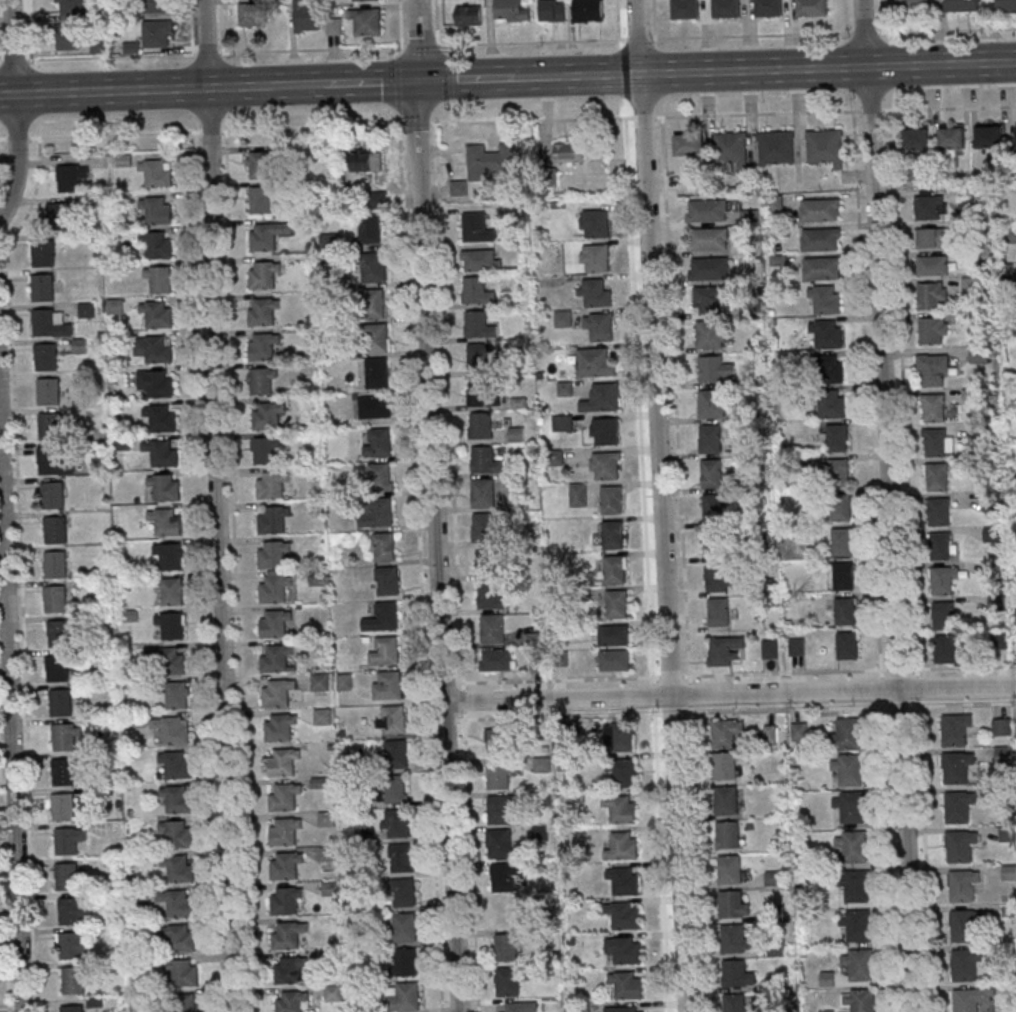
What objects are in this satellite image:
building: (366, 0)
building: (914, 5)
building: (963, 6)
building: (1006, 6)
building: (72, 7)
building: (156, 7)
building: (812, 8)
building: (726, 9)
building: (769, 9)
building: (552, 10)
building: (589, 10)
building: (686, 10)
building: (511, 11)
building: (251, 13)
building: (469, 15)
road: (881, 16)
building: (307, 17)
road: (844, 17)
road: (654, 19)
road: (618, 20)
road: (436, 22)
road: (400, 23)
road: (415, 23)
building: (368, 24)
road: (33, 30)
road: (947, 30)
road: (864, 33)
building: (156, 34)
building: (68, 36)
road: (749, 36)
road: (637, 38)
road: (533, 42)
road: (422, 45)
road: (450, 49)
road: (396, 51)
road: (202, 54)
road: (416, 63)
road: (940, 64)
road: (754, 70)
road: (603, 74)
road: (450, 76)
road: (540, 76)
road: (466, 77)
traffic signals: (417, 80)
road: (370, 82)
road: (298, 84)
road: (398, 84)
road: (240, 86)
road: (111, 90)
road: (7, 94)
road: (418, 101)
road: (15, 109)
road: (452, 111)
road: (723, 115)
road: (417, 123)
road: (311, 127)
road: (209, 132)
road: (112, 134)
building: (989, 136)
building: (952, 138)
road: (3, 139)
road: (16, 139)
building: (917, 139)
building: (690, 144)
building: (826, 146)
building: (776, 148)
building: (731, 150)
building: (569, 152)
building: (366, 161)
building: (489, 161)
building: (259, 164)
building: (157, 172)
building: (70, 178)
building: (966, 197)
building: (264, 199)
building: (774, 205)
building: (929, 209)
building: (157, 210)
building: (706, 211)
building: (818, 211)
building: (61, 214)
building: (595, 223)
building: (477, 228)
building: (371, 229)
building: (266, 236)
building: (1010, 236)
building: (934, 239)
building: (707, 240)
building: (820, 240)
building: (161, 245)
building: (43, 254)
building: (596, 257)
building: (481, 261)
building: (933, 266)
building: (370, 268)
building: (708, 269)
building: (821, 269)
building: (1004, 272)
building: (262, 276)
building: (160, 278)
building: (969, 286)
building: (42, 289)
building: (477, 291)
building: (595, 292)
building: (932, 296)
building: (710, 300)
building: (825, 301)
building: (374, 304)
building: (115, 306)
building: (262, 313)
building: (157, 314)
building: (563, 318)
building: (478, 323)
building: (43, 324)
building: (599, 326)
building: (932, 332)
building: (709, 335)
building: (827, 336)
building: (379, 338)
building: (261, 348)
building: (154, 349)
building: (978, 355)
building: (45, 358)
building: (478, 358)
building: (595, 362)
building: (714, 370)
building: (828, 370)
building: (377, 372)
building: (933, 372)
building: (262, 381)
building: (156, 383)
building: (565, 389)
road: (865, 390)
building: (485, 392)
building: (47, 393)
road: (674, 396)
road: (637, 397)
building: (602, 398)
building: (708, 405)
building: (828, 405)
building: (375, 407)
road: (902, 408)
building: (934, 408)
building: (161, 417)
building: (267, 417)
building: (563, 423)
building: (481, 426)
building: (48, 428)
building: (979, 430)
building: (603, 431)
building: (516, 436)
building: (709, 439)
building: (836, 439)
building: (378, 442)
building: (935, 443)
building: (266, 450)
building: (163, 452)
building: (485, 461)
building: (49, 462)
building: (606, 465)
building: (838, 473)
building: (711, 474)
building: (381, 477)
building: (937, 477)
building: (271, 485)
building: (165, 487)
building: (483, 494)
building: (578, 495)
building: (52, 497)
building: (612, 500)
building: (990, 502)
road: (662, 505)
road: (889, 505)
road: (217, 506)
building: (712, 508)
building: (840, 508)
building: (939, 512)
building: (380, 514)
building: (166, 521)
building: (272, 521)
building: (484, 528)
building: (54, 531)
building: (614, 534)
building: (991, 535)
building: (713, 543)
building: (841, 543)
building: (384, 547)
building: (941, 547)
building: (272, 555)
building: (170, 556)
building: (491, 561)
road: (420, 562)
building: (54, 565)
road: (438, 567)
road: (456, 567)
building: (615, 569)
building: (991, 569)
road: (204, 571)
road: (234, 571)
building: (842, 577)
building: (715, 578)
building: (387, 580)
building: (943, 581)
building: (273, 589)
building: (171, 590)
building: (494, 595)
building: (55, 601)
building: (617, 603)
building: (995, 604)
building: (844, 612)
building: (718, 613)
building: (944, 616)
building: (1015, 616)
building: (383, 617)
building: (274, 624)
building: (169, 625)
building: (492, 629)
building: (59, 635)
building: (614, 635)
road: (23, 645)
building: (846, 647)
building: (770, 648)
building: (945, 648)
building: (386, 651)
building: (724, 651)
building: (275, 659)
building: (168, 660)
building: (498, 660)
building: (615, 660)
building: (56, 669)
road: (738, 674)
building: (345, 681)
building: (321, 682)
building: (388, 686)
road: (729, 692)
building: (277, 694)
building: (177, 695)
building: (59, 704)
road: (958, 704)
road: (11, 712)
road: (681, 713)
building: (323, 716)
building: (392, 719)
building: (1000, 726)
building: (952, 728)
building: (279, 729)
building: (172, 730)
building: (721, 732)
building: (800, 732)
building: (843, 734)
building: (622, 737)
building: (63, 738)
building: (497, 742)
building: (397, 753)
building: (1001, 754)
building: (282, 763)
building: (722, 764)
building: (176, 765)
building: (542, 765)
building: (954, 765)
building: (847, 768)
building: (62, 773)
building: (624, 773)
building: (501, 775)
building: (396, 789)
building: (283, 798)
building: (177, 799)
building: (724, 799)
building: (956, 805)
building: (848, 806)
building: (61, 807)
building: (501, 810)
building: (620, 811)
building: (326, 818)
building: (398, 823)
building: (177, 833)
building: (284, 833)
building: (1005, 833)
building: (726, 834)
road: (887, 840)
building: (65, 842)
road: (695, 843)
building: (499, 844)
road: (659, 844)
building: (851, 845)
building: (958, 845)
building: (622, 847)
building: (328, 853)
building: (402, 857)
road: (924, 859)
building: (285, 867)
building: (727, 868)
building: (179, 869)
building: (1008, 872)
building: (66, 877)
building: (504, 878)
building: (622, 881)
building: (960, 884)
building: (853, 885)
building: (405, 892)
building: (177, 902)
building: (285, 902)
building: (729, 903)
road: (4, 910)
building: (69, 912)
building: (622, 914)
building: (855, 924)
building: (962, 924)
building: (405, 928)
building: (181, 937)
building: (286, 937)
building: (731, 938)
building: (70, 947)
building: (507, 948)
building: (624, 950)
building: (406, 963)
building: (964, 963)
building: (857, 964)
building: (289, 970)
building: (182, 972)
building: (732, 973)
building: (72, 981)
building: (509, 981)
building: (626, 984)
building: (406, 997)
building: (859, 999)
building: (966, 999)
building: (188, 1002)
building: (291, 1002)
building: (732, 1002)
building: (625, 1008)
building: (71, 1009)
building: (580, 1009)

